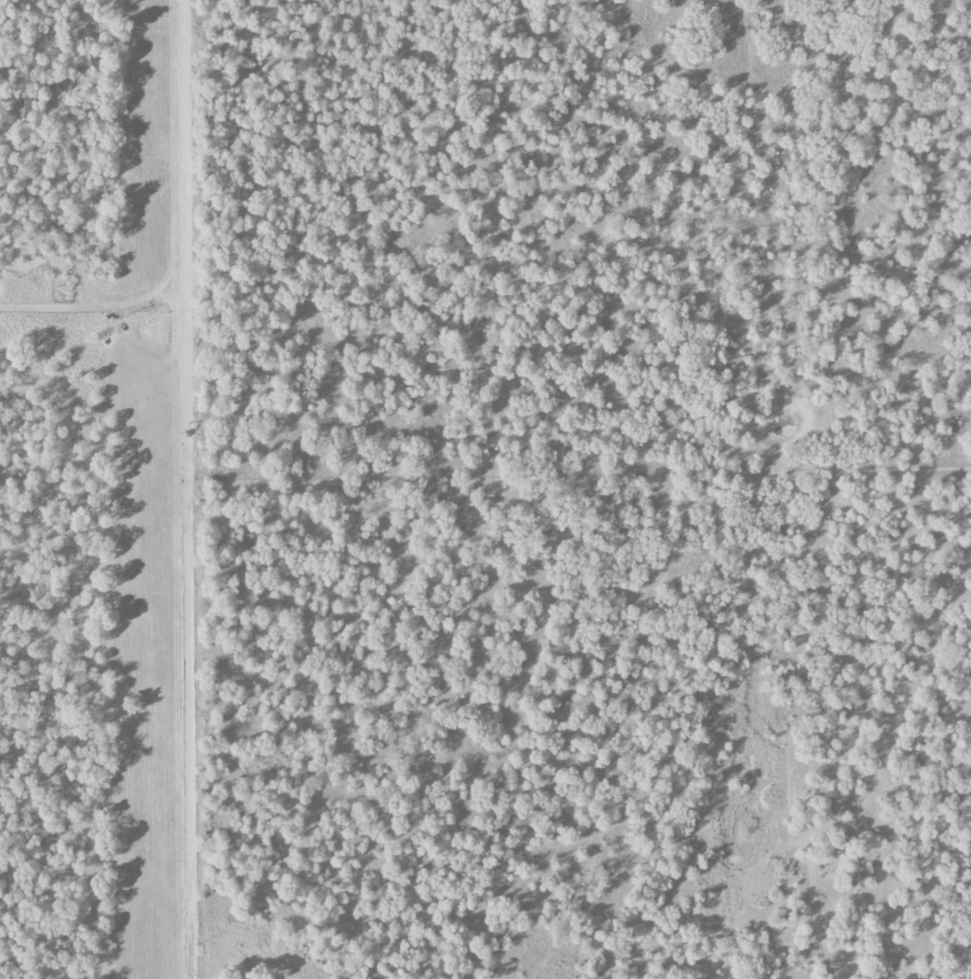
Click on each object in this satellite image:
building: (22, 107)

